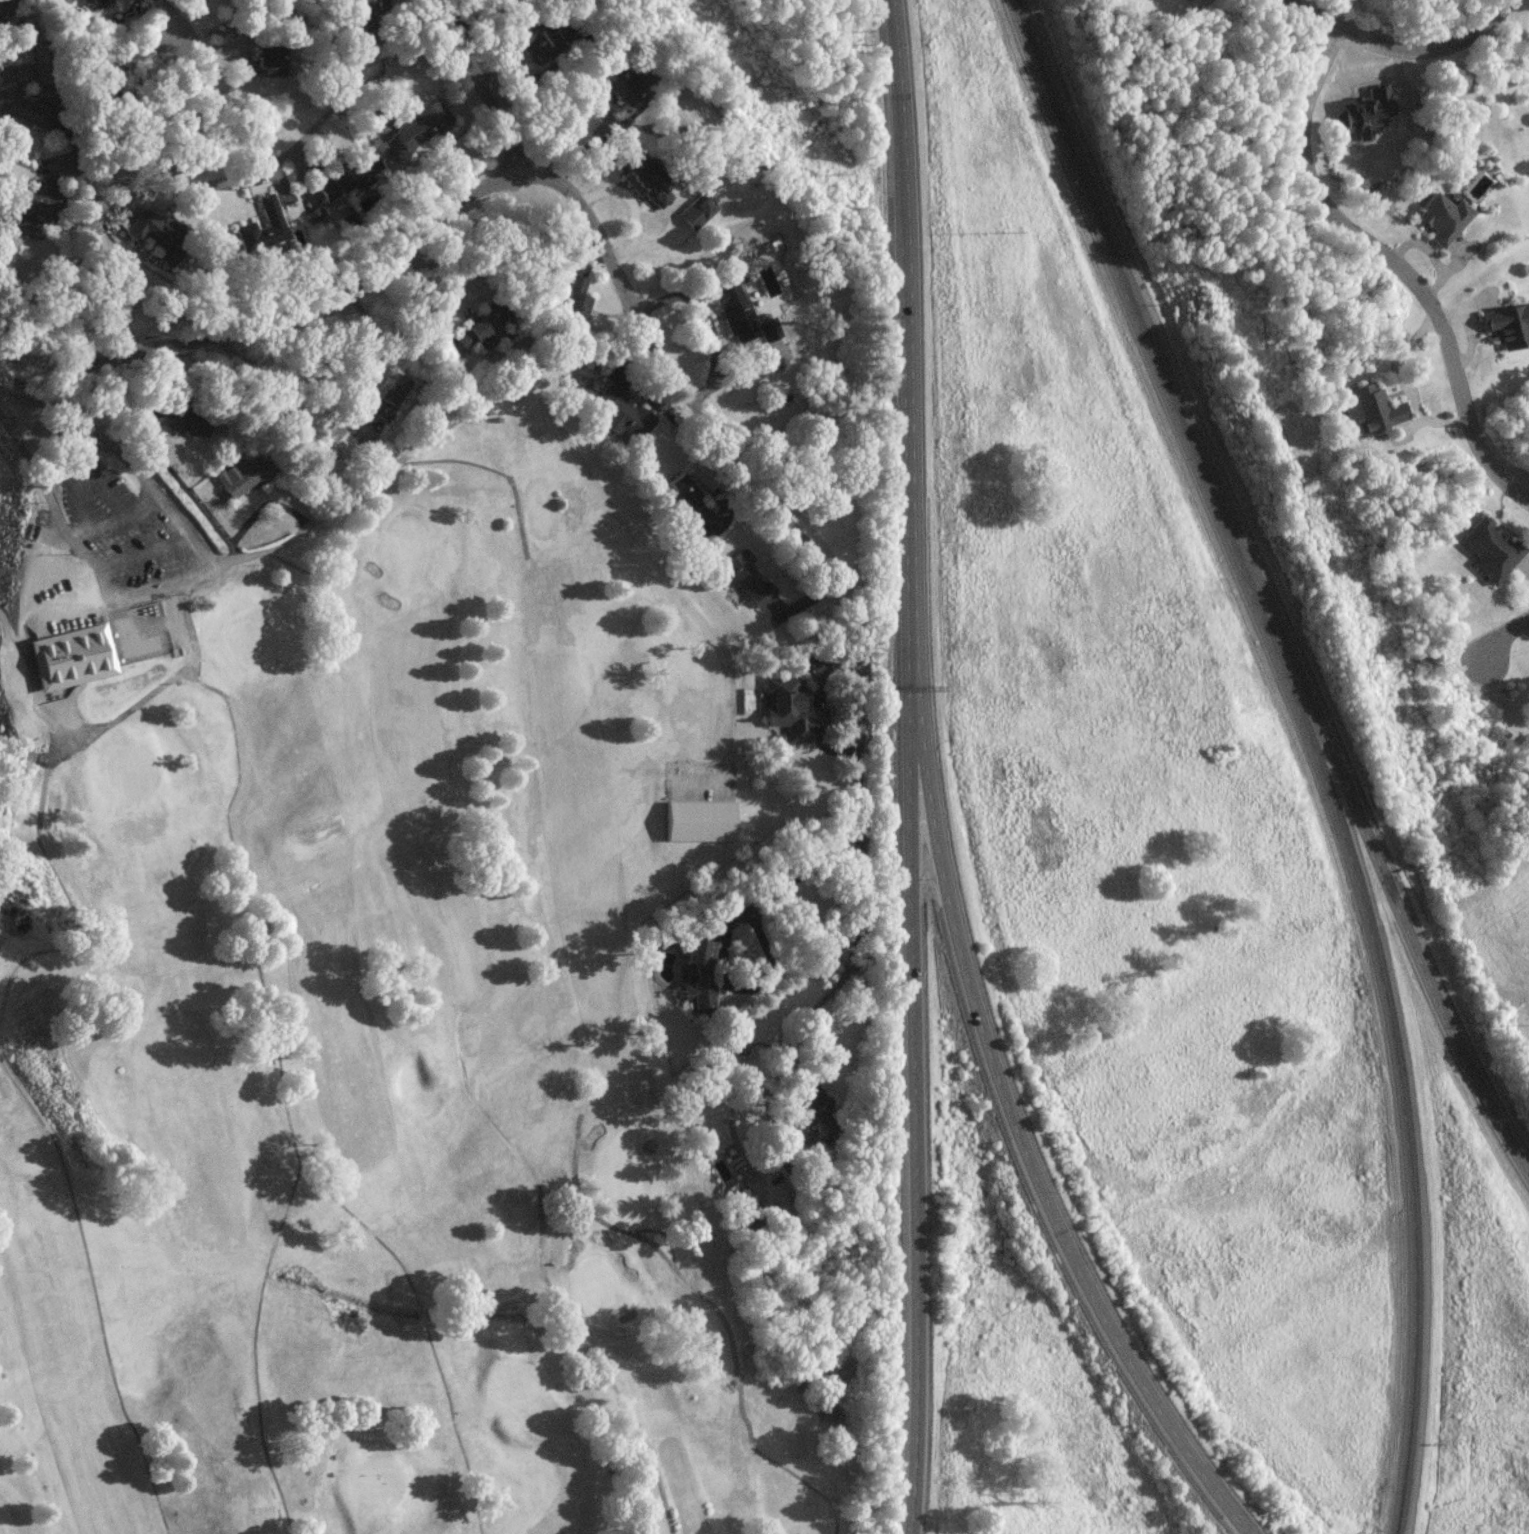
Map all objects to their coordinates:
road: (1308, 17)
road: (164, 21)
road: (1431, 56)
road: (478, 86)
building: (15, 88)
building: (611, 90)
building: (423, 130)
building: (347, 184)
road: (131, 205)
building: (1443, 225)
road: (1394, 271)
building: (471, 341)
road: (657, 351)
road: (1161, 368)
building: (392, 394)
road: (909, 399)
building: (1368, 415)
building: (622, 421)
road: (501, 474)
building: (240, 483)
building: (682, 509)
road: (308, 524)
parking lot: (103, 549)
road: (82, 550)
building: (1487, 556)
road: (654, 567)
building: (744, 577)
road: (135, 603)
building: (47, 611)
road: (527, 622)
road: (3, 628)
building: (173, 633)
road: (1502, 642)
building: (70, 661)
building: (779, 697)
building: (20, 741)
park: (131, 774)
building: (699, 823)
road: (531, 835)
road: (792, 883)
road: (58, 885)
park: (500, 898)
road: (1415, 960)
building: (699, 962)
road: (260, 976)
road: (729, 1124)
road: (1404, 1129)
road: (578, 1144)
road: (918, 1166)
park: (620, 1175)
road: (1040, 1184)
building: (742, 1210)
road: (672, 1245)
road: (541, 1277)
road: (91, 1293)
road: (253, 1340)
road: (743, 1398)
park: (370, 1490)
road: (826, 1508)

